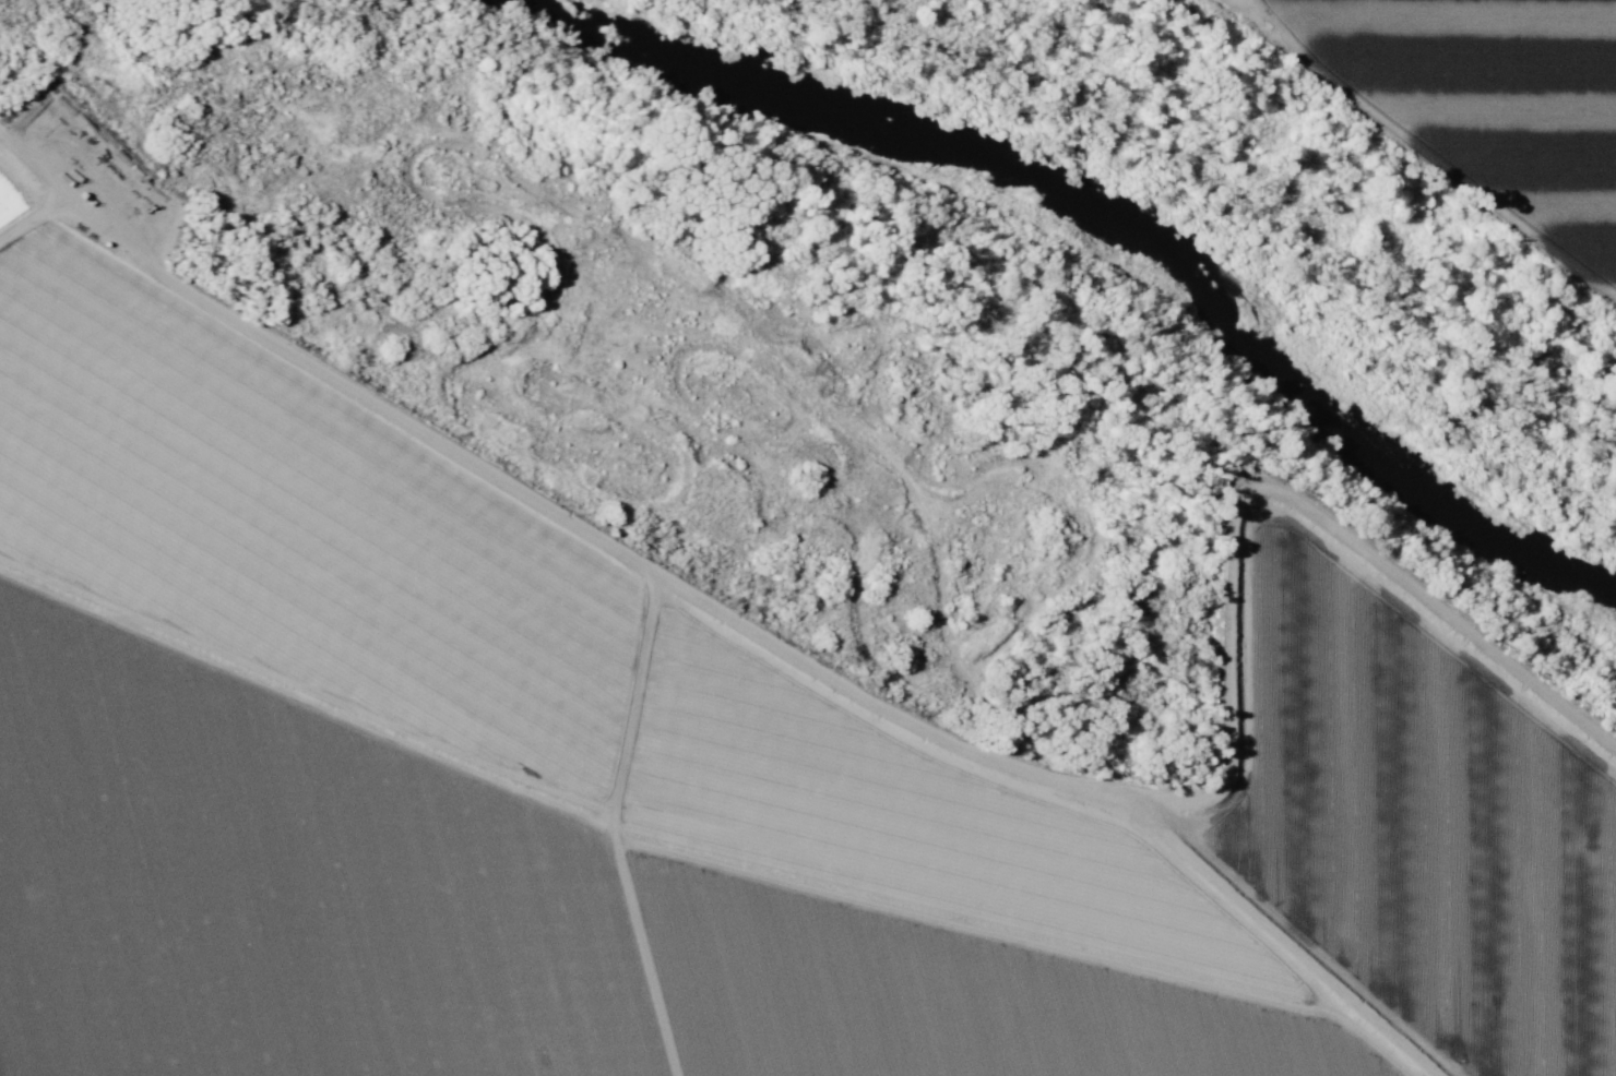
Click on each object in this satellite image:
crop: (1489, 108)
crop: (678, 780)

